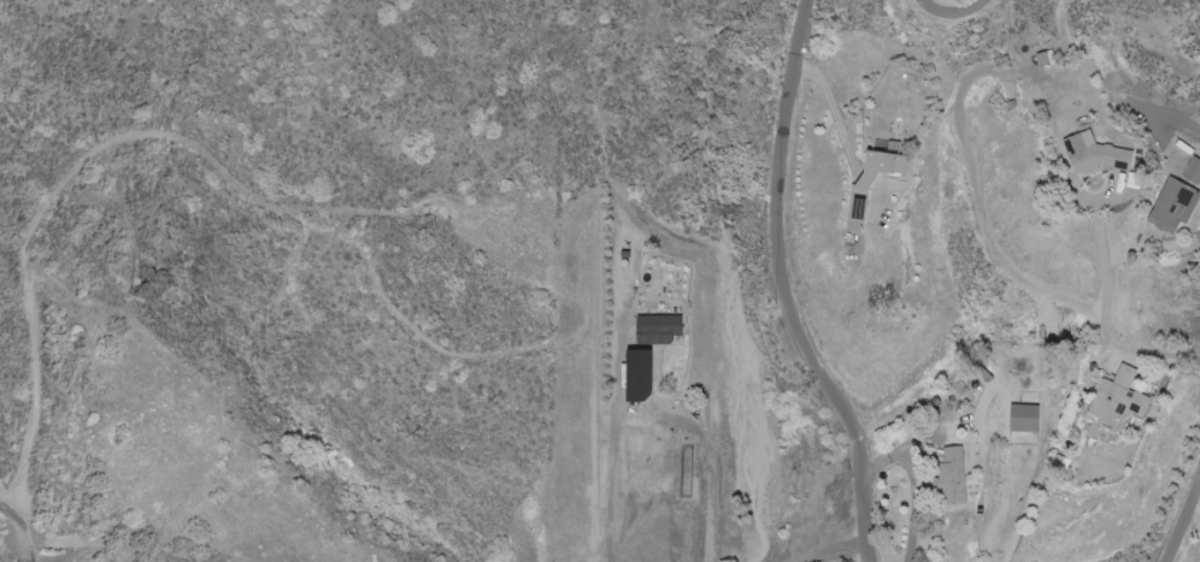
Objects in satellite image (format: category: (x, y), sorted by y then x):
road: (955, 8)
road: (835, 114)
road: (1173, 118)
building: (1092, 155)
building: (1192, 171)
road: (869, 182)
road: (877, 194)
building: (857, 205)
building: (1172, 206)
road: (786, 288)
road: (1105, 320)
building: (661, 329)
road: (290, 336)
building: (645, 375)
building: (1116, 400)
building: (1022, 419)
road: (708, 452)
road: (613, 457)
building: (949, 478)
road: (1181, 520)
road: (20, 530)
road: (840, 551)

